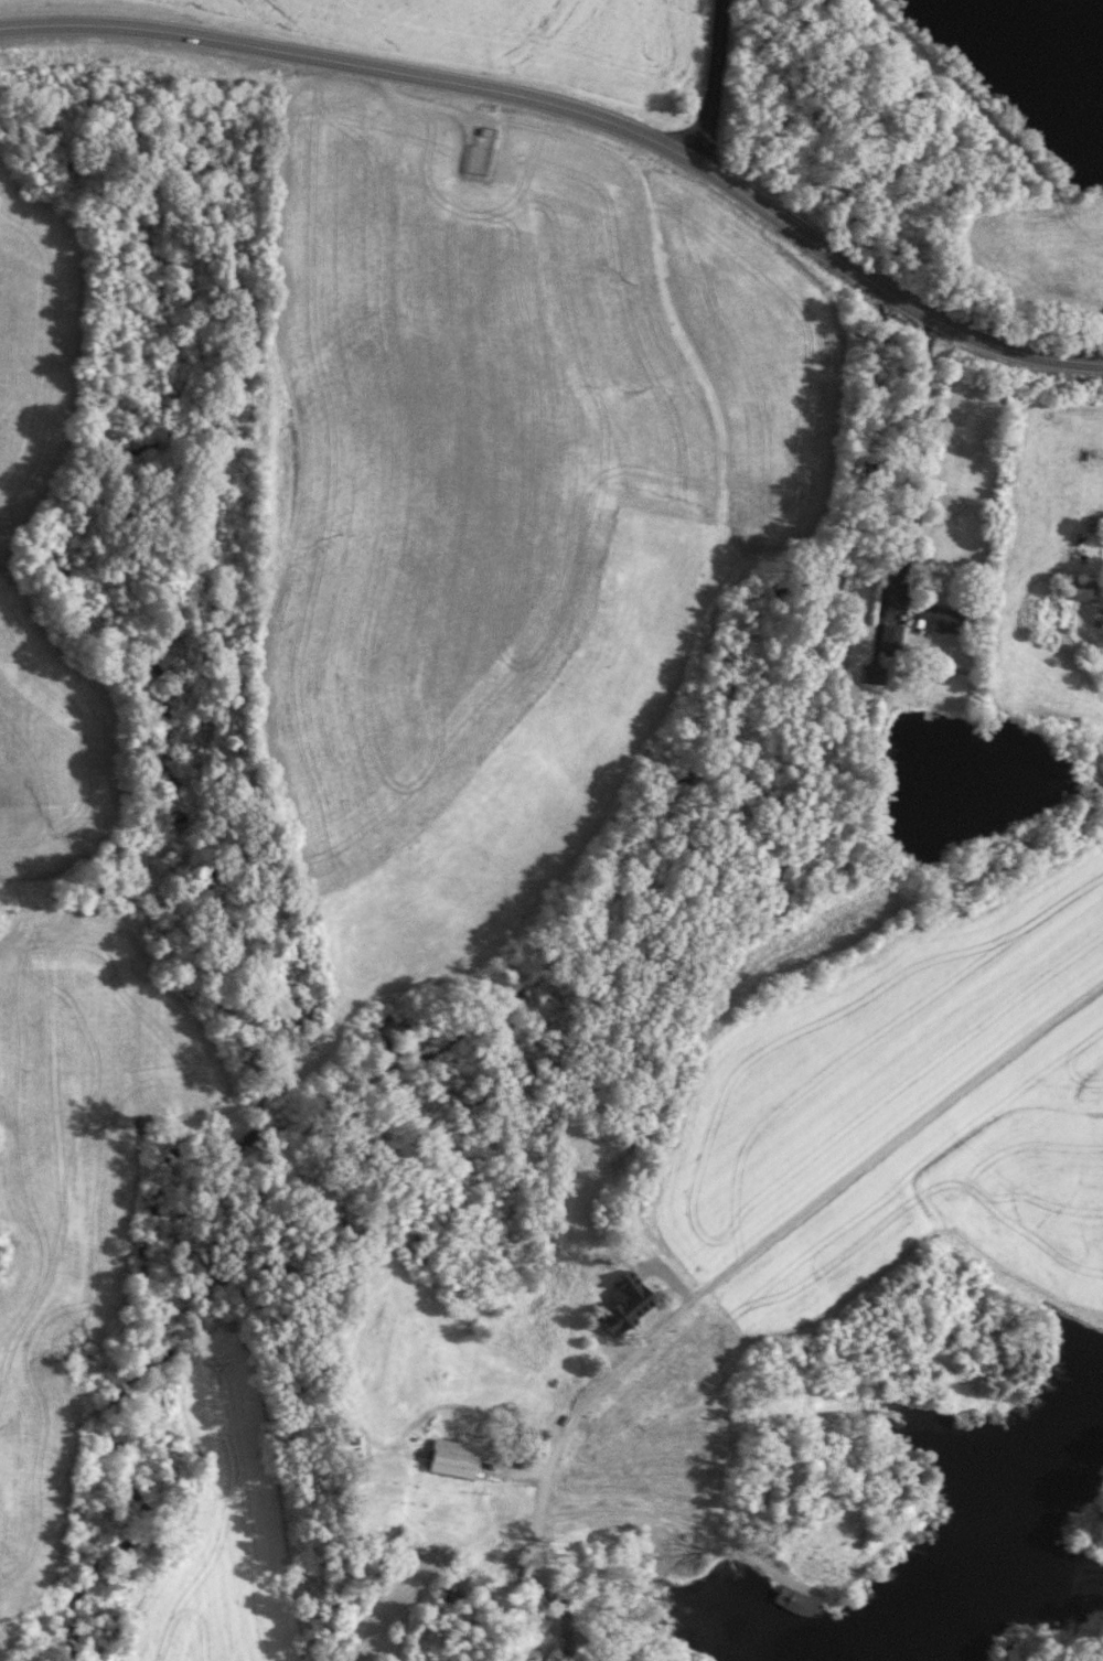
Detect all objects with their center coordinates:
road: (711, 79)
road: (577, 114)
road: (913, 461)
building: (1081, 589)
building: (941, 618)
building: (891, 635)
building: (874, 672)
building: (303, 1018)
road: (800, 1213)
building: (628, 1309)
building: (457, 1467)
road: (658, 1523)
building: (505, 1552)

